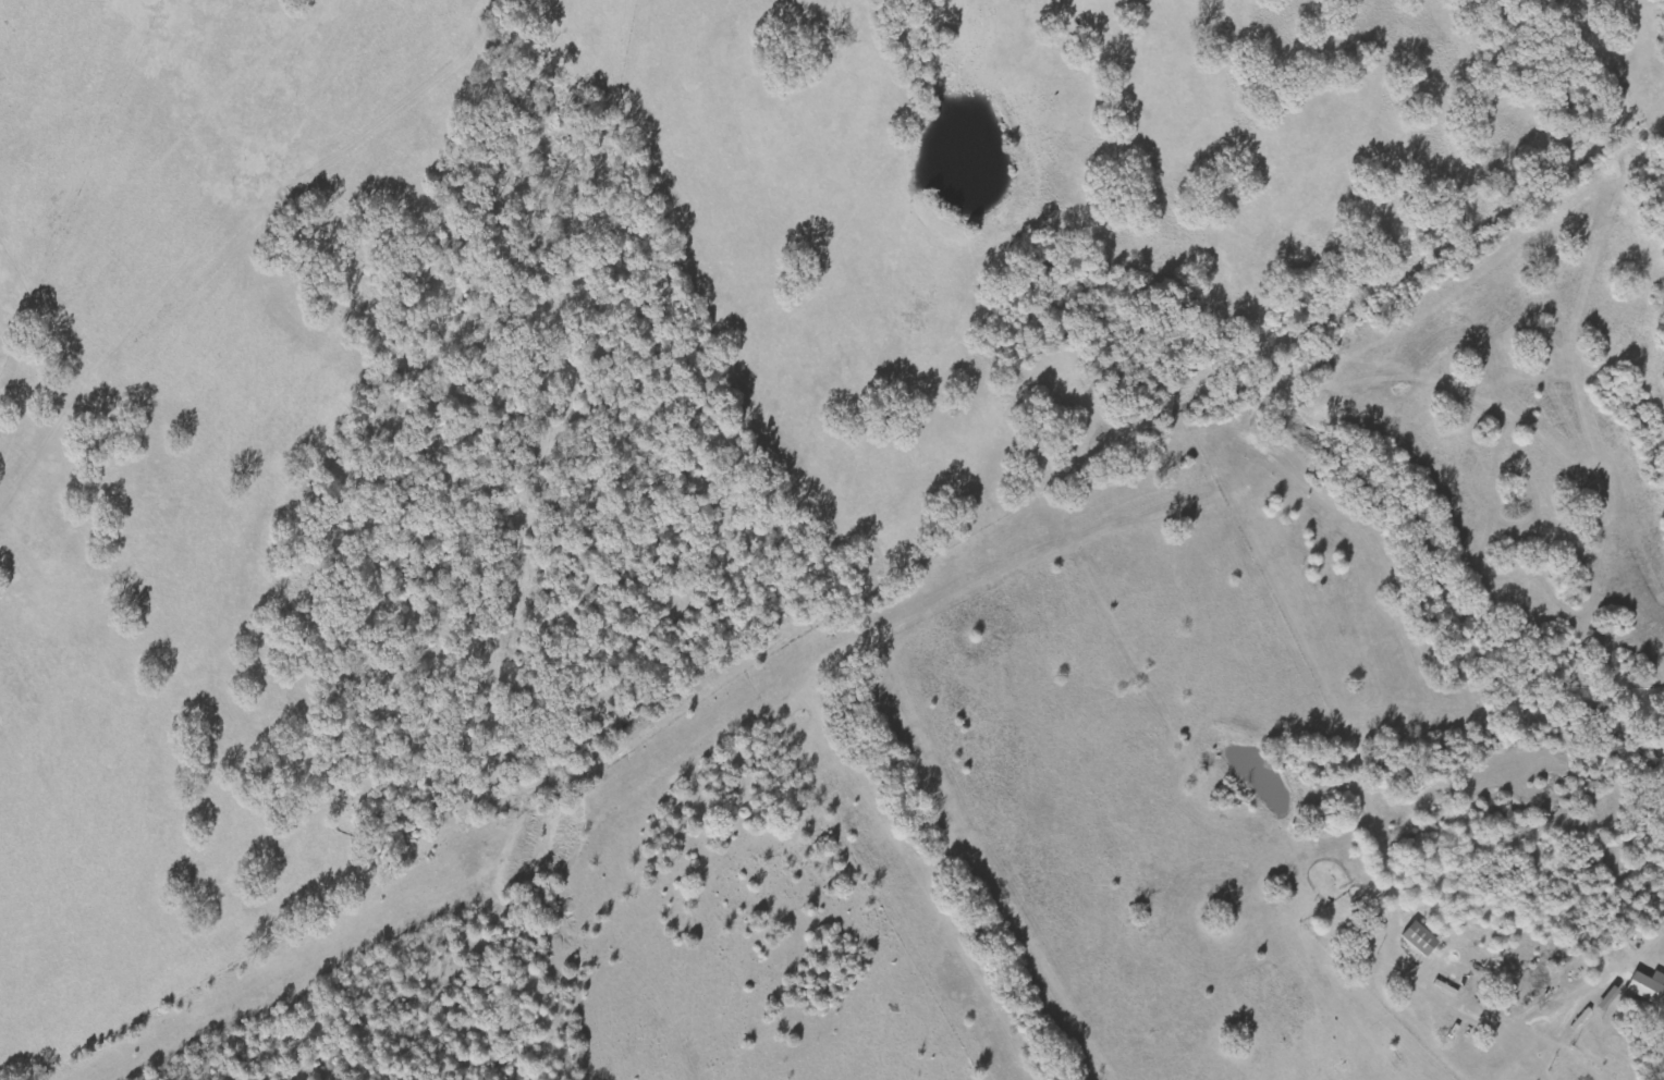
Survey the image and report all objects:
building: (1419, 940)
building: (1643, 989)

